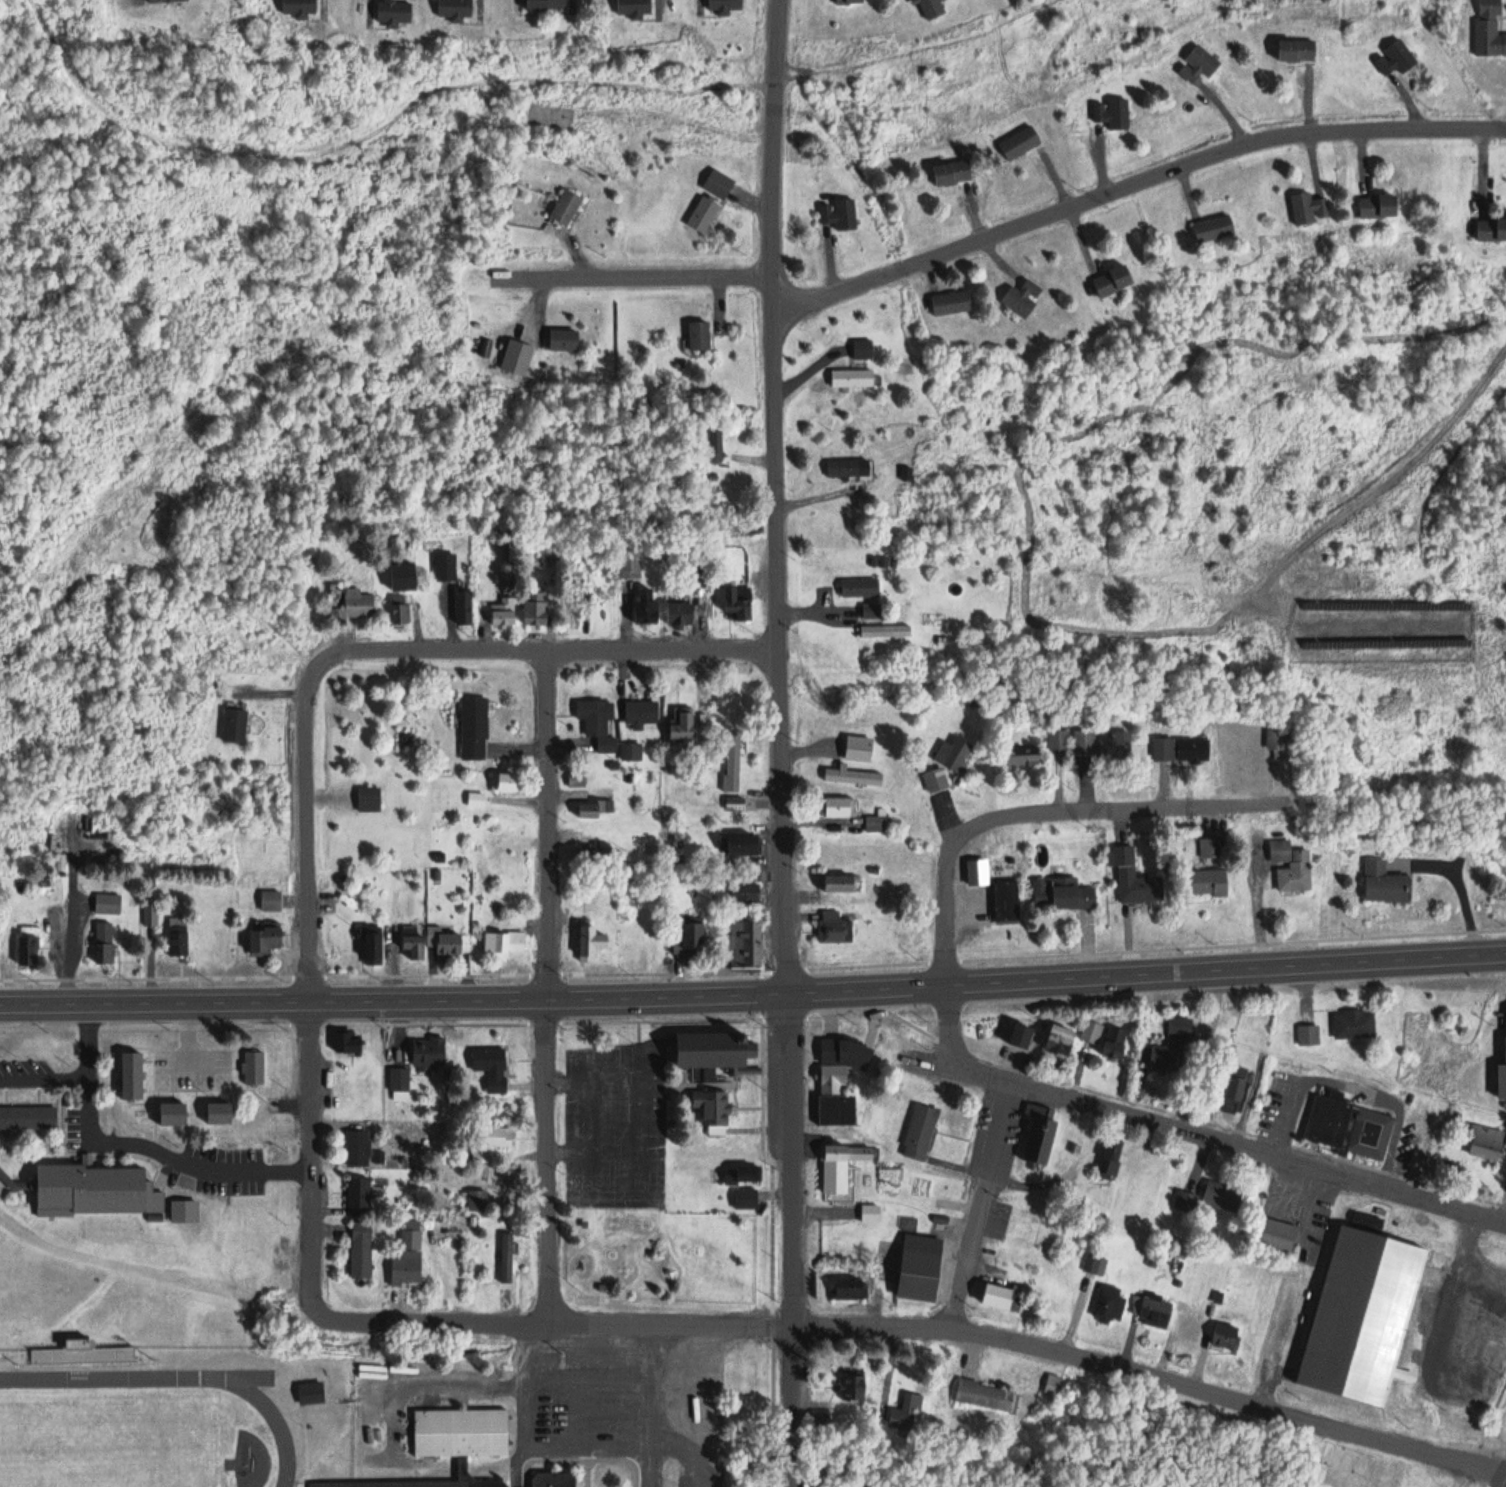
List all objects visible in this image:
building: (166, 1)
building: (850, 2)
building: (547, 5)
building: (726, 5)
building: (300, 7)
building: (635, 8)
building: (456, 9)
building: (933, 9)
building: (395, 13)
building: (1490, 29)
building: (1298, 52)
building: (1396, 59)
building: (1199, 66)
building: (1113, 115)
building: (1021, 145)
building: (953, 174)
road: (1136, 185)
building: (1380, 206)
building: (567, 208)
building: (1307, 208)
building: (840, 214)
building: (704, 215)
building: (1215, 228)
building: (1492, 230)
road: (634, 275)
building: (1114, 281)
building: (1024, 297)
building: (952, 302)
building: (700, 334)
building: (564, 338)
building: (863, 348)
building: (517, 356)
building: (853, 377)
building: (716, 445)
building: (848, 467)
building: (630, 564)
building: (446, 567)
building: (404, 576)
building: (861, 588)
building: (351, 602)
building: (739, 603)
building: (465, 608)
building: (647, 608)
building: (536, 609)
building: (401, 610)
building: (504, 612)
building: (680, 612)
building: (873, 612)
building: (886, 632)
road: (533, 648)
building: (642, 714)
building: (598, 723)
building: (236, 726)
building: (684, 726)
building: (474, 729)
building: (1058, 741)
road: (780, 743)
building: (1084, 744)
building: (1116, 747)
building: (860, 749)
building: (1181, 750)
building: (632, 752)
building: (955, 755)
building: (1025, 758)
building: (1249, 762)
building: (733, 763)
road: (1271, 775)
building: (853, 777)
building: (577, 780)
building: (936, 781)
road: (1048, 781)
road: (1076, 782)
road: (1155, 782)
building: (513, 783)
building: (370, 799)
building: (837, 806)
road: (1108, 806)
building: (590, 810)
road: (942, 819)
building: (876, 823)
building: (744, 844)
building: (593, 856)
building: (1292, 866)
building: (978, 871)
building: (1135, 877)
building: (1385, 880)
building: (1207, 882)
building: (842, 883)
building: (746, 893)
building: (1063, 893)
road: (1247, 899)
building: (271, 900)
building: (1007, 900)
building: (108, 903)
road: (944, 920)
building: (835, 927)
building: (693, 935)
building: (178, 936)
building: (266, 940)
building: (413, 940)
road: (1121, 940)
building: (591, 941)
building: (445, 942)
building: (106, 943)
building: (504, 943)
building: (374, 944)
building: (744, 944)
road: (1078, 945)
building: (29, 950)
road: (753, 994)
road: (309, 1006)
building: (1355, 1024)
building: (1092, 1032)
building: (1022, 1035)
building: (1309, 1035)
road: (184, 1039)
building: (1061, 1040)
building: (349, 1041)
building: (1116, 1043)
building: (836, 1049)
building: (428, 1052)
building: (1167, 1060)
building: (711, 1062)
building: (247, 1066)
building: (492, 1067)
building: (124, 1071)
parking lot: (188, 1072)
parking lot: (23, 1076)
building: (1501, 1077)
road: (76, 1078)
building: (399, 1080)
building: (1236, 1090)
building: (827, 1108)
building: (212, 1109)
building: (164, 1111)
building: (714, 1111)
building: (23, 1115)
parking lot: (616, 1123)
building: (1349, 1127)
road: (1190, 1129)
road: (550, 1130)
parking lot: (77, 1132)
building: (920, 1132)
building: (1039, 1134)
building: (491, 1141)
building: (1487, 1143)
building: (358, 1148)
building: (848, 1153)
building: (1113, 1158)
road: (164, 1160)
building: (743, 1176)
parking lot: (212, 1177)
building: (852, 1179)
building: (85, 1188)
building: (361, 1195)
building: (1223, 1198)
building: (746, 1199)
road: (978, 1201)
building: (1187, 1201)
building: (178, 1209)
road: (1314, 1210)
building: (871, 1214)
building: (148, 1217)
building: (1277, 1237)
building: (362, 1251)
building: (408, 1257)
building: (506, 1258)
building: (1096, 1265)
building: (920, 1268)
building: (852, 1289)
building: (1000, 1297)
building: (1110, 1303)
building: (1156, 1311)
building: (1365, 1314)
road: (931, 1323)
building: (1219, 1334)
building: (84, 1353)
building: (1054, 1385)
road: (1266, 1385)
building: (311, 1392)
building: (987, 1395)
building: (907, 1411)
track: (279, 1425)
building: (453, 1437)
park: (111, 1442)
building: (547, 1478)

